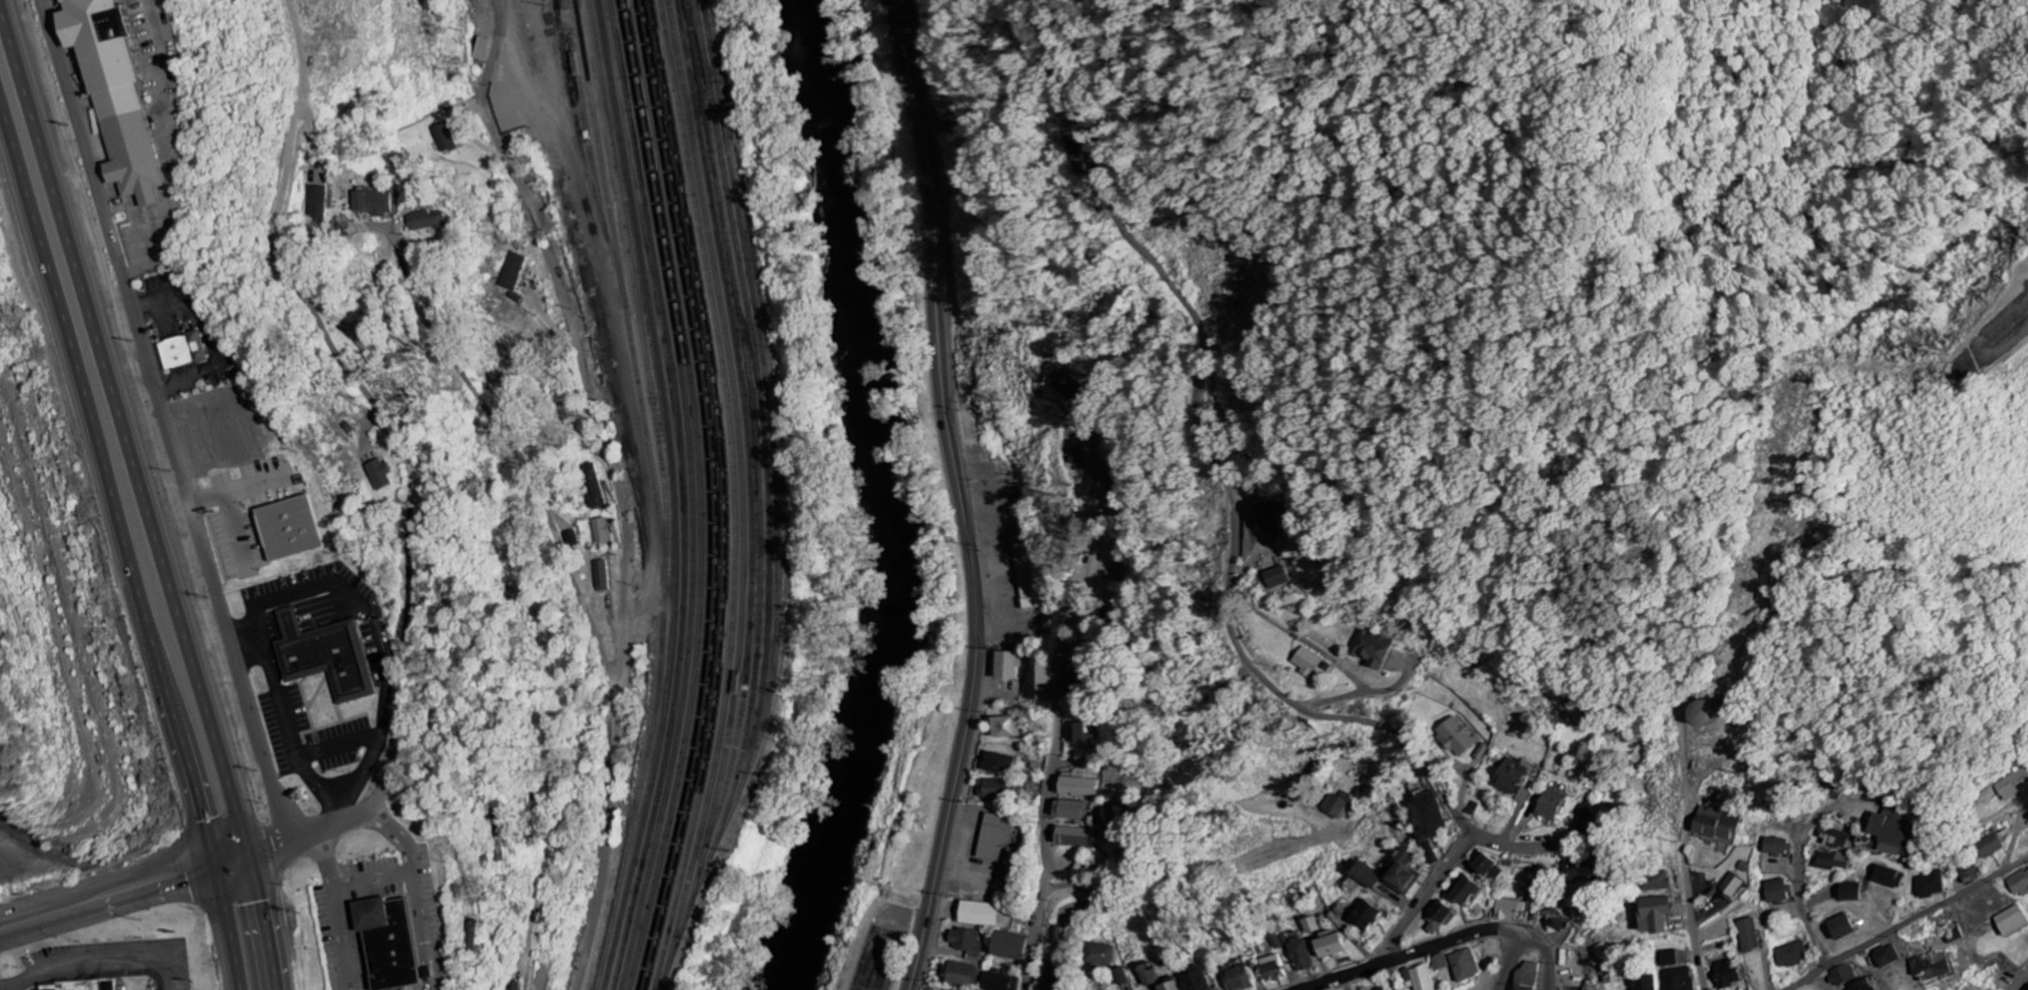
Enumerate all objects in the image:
building: (481, 49)
building: (124, 92)
building: (442, 137)
building: (1076, 156)
building: (372, 203)
building: (316, 204)
building: (428, 223)
road: (372, 228)
building: (512, 272)
railway: (621, 299)
road: (571, 330)
building: (359, 337)
building: (181, 351)
building: (1064, 383)
road: (164, 423)
building: (380, 474)
road: (1225, 474)
building: (593, 486)
road: (148, 493)
railway: (662, 495)
railway: (670, 495)
railway: (680, 495)
road: (961, 496)
river: (899, 500)
railway: (776, 502)
building: (1267, 516)
building: (292, 528)
building: (601, 532)
building: (573, 540)
road: (127, 549)
building: (601, 576)
building: (1027, 576)
building: (1277, 578)
building: (1371, 649)
building: (324, 657)
building: (1307, 662)
building: (1006, 665)
building: (1043, 682)
road: (1055, 718)
building: (1006, 727)
building: (1084, 734)
building: (1455, 737)
building: (997, 764)
building: (1190, 772)
building: (1509, 777)
building: (2012, 785)
building: (1076, 787)
building: (992, 789)
building: (1524, 796)
building: (1726, 799)
building: (1549, 804)
building: (1335, 805)
building: (1071, 810)
building: (1428, 820)
building: (1586, 820)
building: (1716, 824)
building: (1893, 833)
building: (994, 836)
building: (1072, 837)
building: (1835, 839)
building: (1775, 846)
building: (1990, 846)
building: (1832, 861)
building: (1489, 868)
building: (1970, 872)
building: (1402, 873)
building: (1570, 873)
building: (1364, 876)
building: (1888, 877)
road: (125, 881)
building: (1657, 881)
building: (2019, 882)
building: (1930, 885)
building: (1731, 886)
building: (1463, 890)
building: (1776, 891)
building: (1849, 891)
road: (1428, 893)
road: (904, 896)
road: (1691, 899)
building: (1509, 910)
road: (1803, 913)
road: (130, 914)
building: (979, 914)
building: (1654, 915)
building: (1364, 916)
building: (1437, 917)
building: (2009, 921)
road: (1908, 922)
building: (1840, 927)
road: (1519, 929)
building: (1749, 935)
building: (1064, 937)
building: (472, 938)
building: (392, 939)
road: (863, 939)
building: (1324, 940)
building: (965, 942)
building: (1280, 942)
road: (909, 945)
building: (1008, 946)
building: (1300, 952)
parking lot: (878, 953)
building: (1790, 955)
building: (1102, 956)
building: (1886, 956)
building: (1669, 958)
road: (99, 959)
road: (1515, 960)
building: (1439, 962)
road: (1371, 964)
building: (1464, 965)
building: (1273, 968)
building: (429, 970)
building: (1057, 970)
building: (963, 975)
building: (1146, 975)
building: (1727, 975)
building: (1124, 977)
building: (1236, 977)
building: (1526, 977)
building: (1418, 978)
building: (1678, 979)
building: (1194, 980)
road: (2021, 981)
building: (999, 982)
building: (1644, 983)
building: (77, 986)
building: (514, 986)
building: (1167, 986)
building: (1381, 989)

